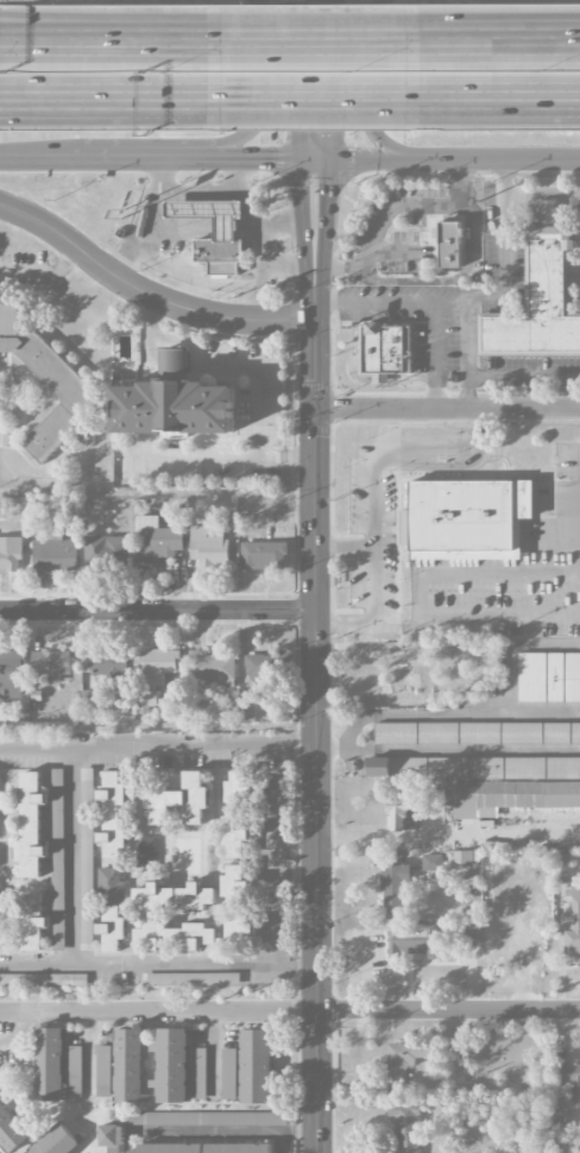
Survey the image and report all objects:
road: (88, 27)
road: (518, 34)
road: (191, 39)
road: (308, 39)
road: (88, 40)
road: (493, 40)
road: (298, 80)
road: (328, 80)
road: (261, 90)
road: (367, 94)
road: (566, 97)
road: (71, 99)
road: (480, 99)
road: (566, 99)
road: (175, 100)
road: (307, 100)
road: (71, 109)
traffic signals: (300, 130)
road: (256, 159)
road: (145, 160)
traffic signals: (277, 160)
road: (315, 160)
road: (376, 160)
road: (502, 160)
road: (40, 165)
traffic signals: (328, 184)
road: (197, 190)
road: (544, 194)
road: (392, 209)
road: (144, 220)
road: (280, 228)
building: (227, 229)
gas station: (227, 229)
road: (258, 239)
road: (304, 241)
road: (326, 241)
building: (450, 246)
road: (283, 266)
road: (43, 271)
road: (193, 276)
road: (502, 285)
road: (147, 294)
building: (538, 298)
road: (390, 303)
road: (183, 341)
building: (386, 349)
building: (175, 365)
building: (56, 373)
road: (436, 373)
road: (523, 376)
road: (261, 385)
road: (466, 392)
road: (295, 405)
road: (335, 407)
building: (175, 408)
traffic signals: (316, 409)
road: (448, 409)
road: (374, 461)
building: (466, 518)
building: (157, 538)
building: (209, 547)
building: (106, 550)
building: (10, 554)
building: (53, 556)
building: (264, 556)
road: (418, 592)
road: (158, 611)
road: (371, 611)
road: (401, 628)
building: (51, 664)
building: (107, 666)
building: (157, 667)
building: (210, 668)
building: (263, 668)
building: (549, 678)
building: (11, 685)
building: (147, 702)
building: (246, 710)
road: (544, 711)
road: (484, 712)
building: (478, 732)
road: (317, 737)
road: (275, 741)
road: (115, 742)
road: (330, 748)
road: (462, 748)
road: (273, 755)
building: (491, 780)
building: (239, 787)
building: (87, 788)
building: (176, 798)
building: (113, 813)
building: (403, 817)
building: (31, 824)
building: (235, 834)
road: (403, 838)
building: (145, 851)
road: (70, 852)
building: (461, 858)
building: (57, 859)
building: (433, 863)
road: (272, 865)
building: (561, 869)
building: (112, 882)
building: (393, 886)
building: (174, 896)
building: (237, 908)
building: (84, 920)
building: (32, 921)
building: (112, 928)
building: (573, 930)
building: (0, 933)
building: (468, 933)
building: (174, 934)
building: (411, 940)
road: (145, 962)
road: (304, 963)
road: (354, 975)
building: (157, 979)
building: (43, 981)
road: (159, 1004)
road: (449, 1012)
building: (49, 1061)
building: (130, 1063)
building: (403, 1063)
building: (172, 1066)
building: (256, 1066)
building: (75, 1071)
building: (102, 1072)
building: (200, 1075)
building: (229, 1075)
building: (572, 1082)
building: (405, 1127)
building: (11, 1130)
road: (206, 1130)
road: (305, 1130)
road: (288, 1132)
building: (111, 1139)
building: (56, 1142)
building: (170, 1148)
building: (239, 1148)

